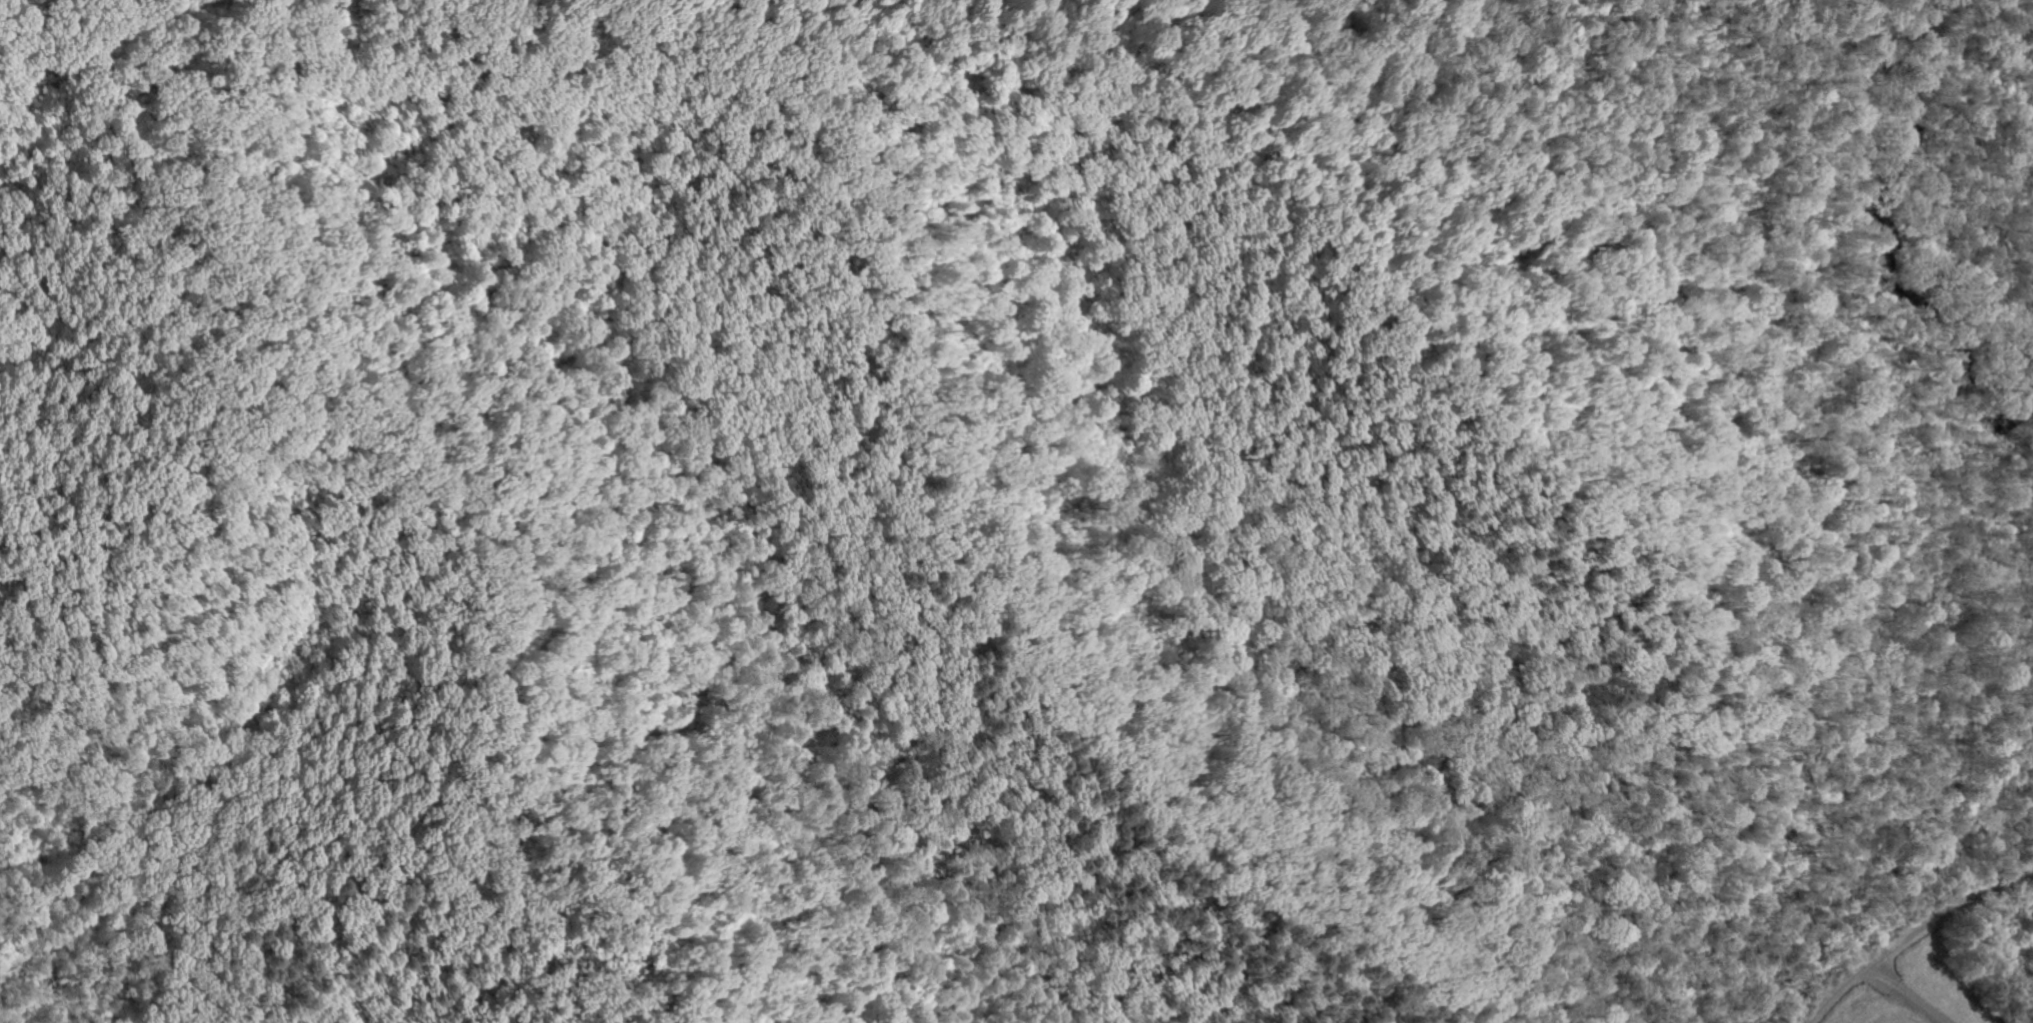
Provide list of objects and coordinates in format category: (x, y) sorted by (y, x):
road: (1908, 932)
road: (1906, 991)

